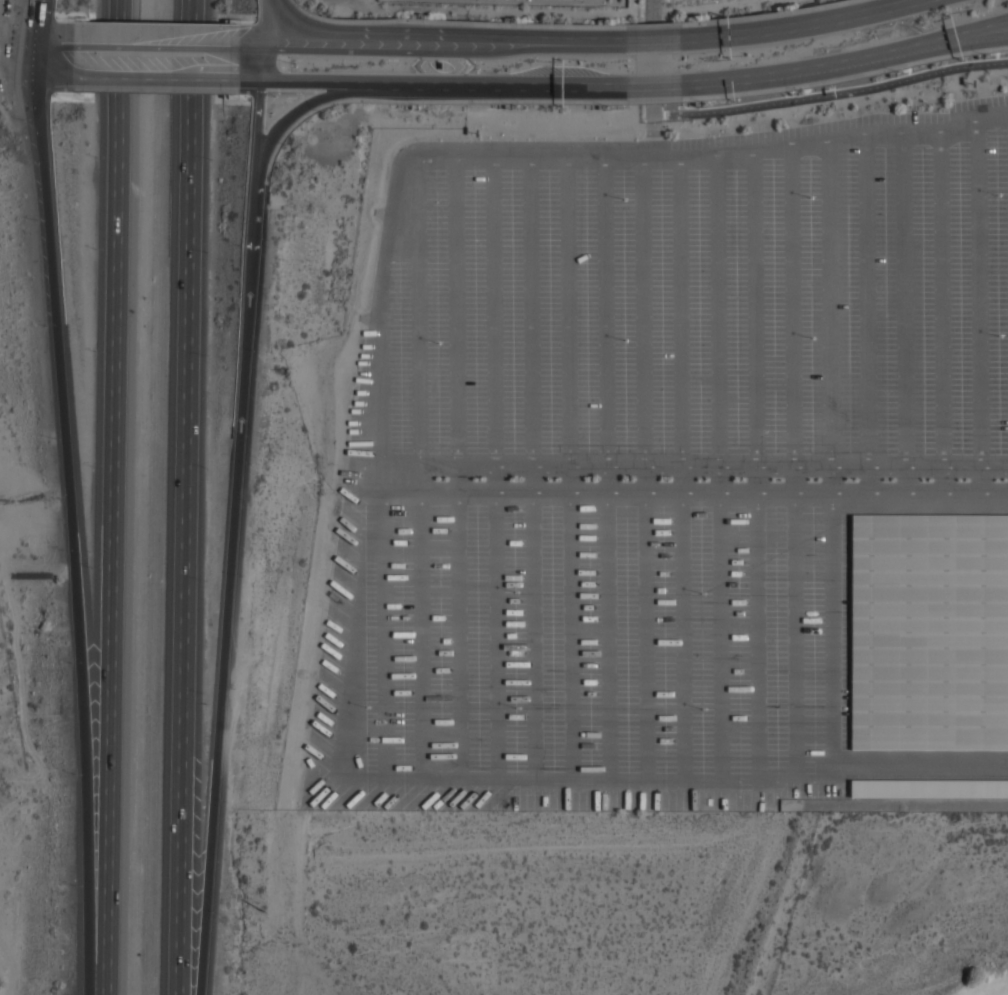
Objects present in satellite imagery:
road: (916, 4)
road: (922, 4)
road: (41, 22)
road: (267, 24)
road: (989, 24)
road: (989, 28)
road: (793, 29)
road: (408, 34)
road: (652, 44)
road: (56, 45)
road: (588, 45)
road: (156, 47)
road: (252, 48)
road: (407, 51)
road: (880, 52)
road: (39, 61)
road: (263, 64)
road: (650, 70)
road: (735, 76)
road: (56, 77)
road: (156, 78)
road: (250, 79)
road: (328, 80)
road: (653, 82)
road: (510, 83)
road: (830, 96)
road: (304, 107)
road: (258, 132)
road: (712, 158)
road: (978, 296)
road: (940, 299)
road: (903, 300)
road: (866, 301)
road: (830, 303)
road: (791, 306)
road: (754, 309)
road: (415, 312)
road: (458, 312)
road: (494, 312)
road: (533, 312)
road: (567, 312)
road: (607, 312)
road: (719, 312)
road: (643, 313)
road: (682, 313)
road: (379, 378)
road: (689, 467)
parking lot: (678, 475)
road: (458, 479)
road: (496, 479)
road: (535, 479)
road: (569, 479)
road: (608, 479)
road: (644, 479)
road: (682, 479)
road: (719, 479)
road: (755, 479)
road: (792, 479)
road: (832, 479)
road: (868, 479)
road: (904, 479)
road: (941, 479)
road: (979, 480)
road: (687, 492)
road: (113, 497)
road: (191, 497)
road: (79, 535)
road: (234, 590)
building: (929, 633)
building: (929, 787)
park: (901, 907)

